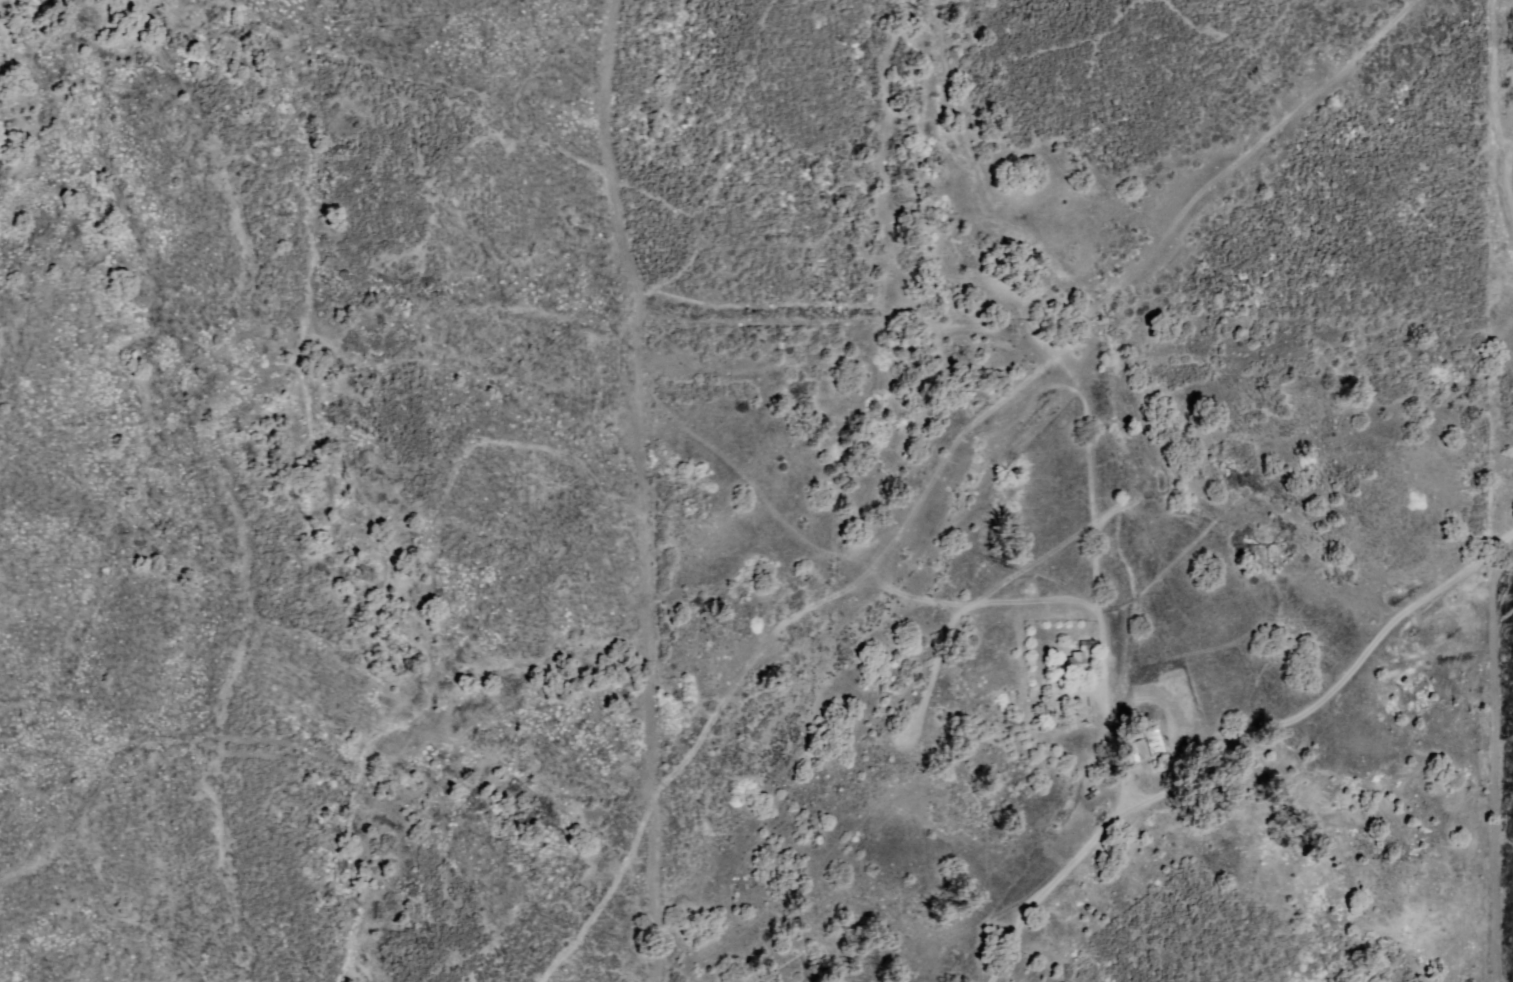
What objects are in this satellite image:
building: (1089, 644)
building: (1080, 660)
building: (1156, 741)
road: (1241, 747)
building: (1136, 750)

